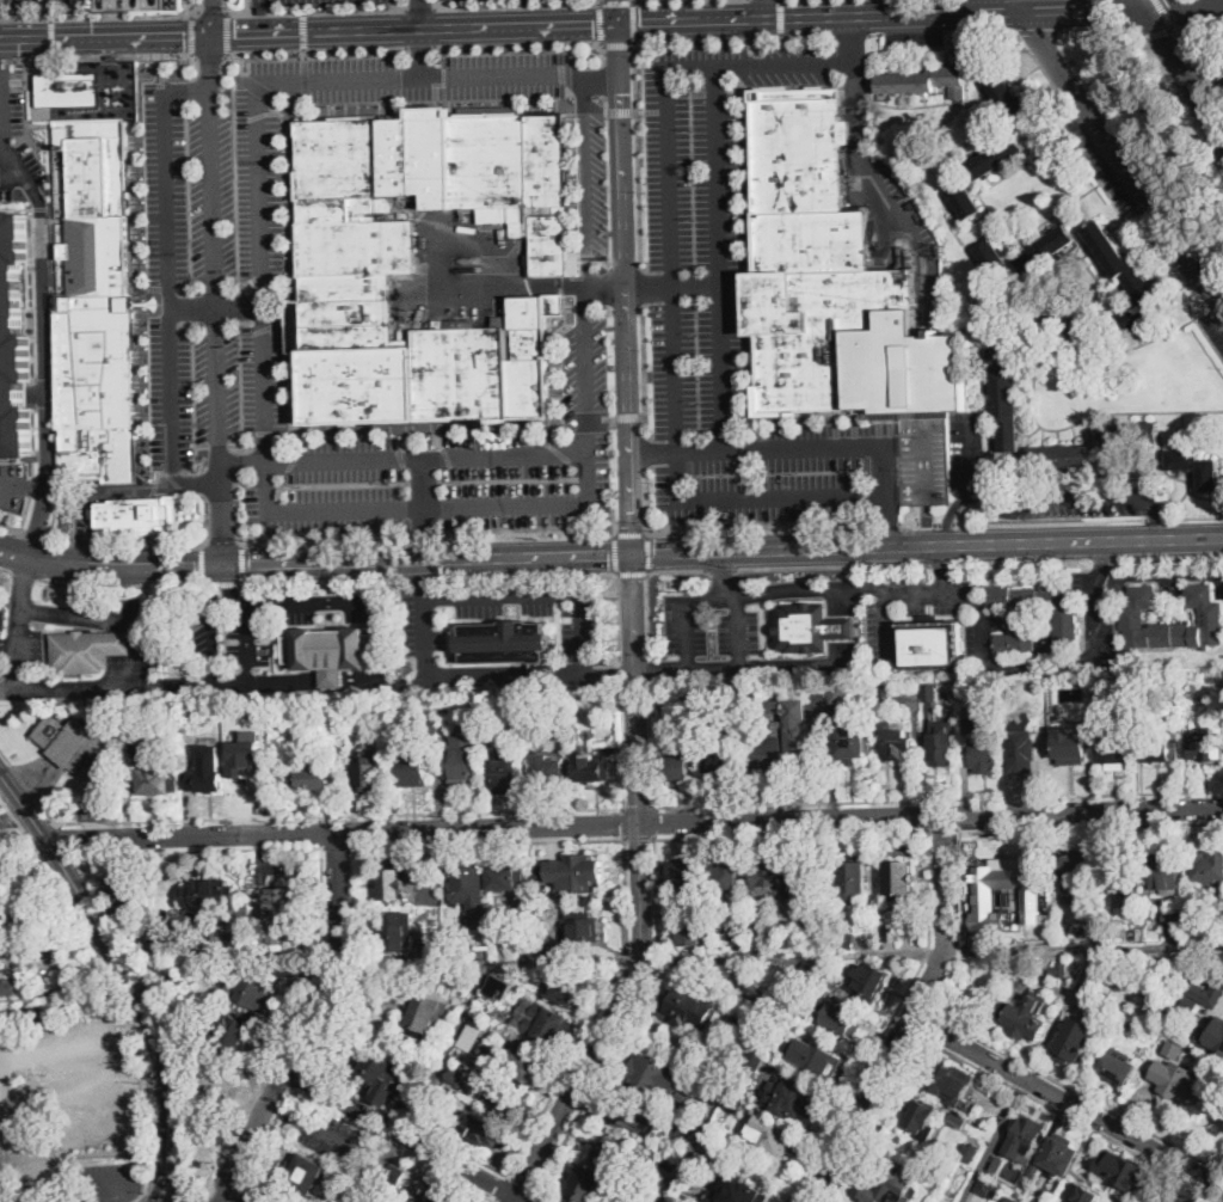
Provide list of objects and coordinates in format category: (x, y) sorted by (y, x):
parking lot: (281, 0)
road: (600, 0)
road: (632, 0)
road: (652, 0)
road: (616, 1)
road: (1137, 2)
parking lot: (75, 4)
building: (141, 4)
road: (516, 4)
road: (1181, 5)
road: (960, 6)
road: (419, 7)
road: (1082, 7)
road: (0, 8)
building: (263, 8)
road: (766, 8)
road: (316, 10)
road: (620, 10)
road: (214, 12)
road: (419, 13)
road: (895, 13)
road: (1164, 13)
road: (100, 14)
road: (781, 17)
road: (692, 18)
road: (633, 19)
traffic signals: (640, 19)
traffic signals: (592, 20)
road: (602, 20)
road: (1104, 26)
road: (1198, 26)
road: (982, 27)
road: (302, 29)
road: (309, 29)
road: (1040, 29)
road: (1159, 30)
road: (227, 31)
road: (916, 31)
road: (192, 32)
traffic signals: (213, 32)
road: (877, 32)
road: (850, 33)
road: (50, 35)
road: (731, 36)
road: (853, 36)
parking lot: (915, 37)
building: (760, 38)
road: (516, 42)
road: (617, 43)
road: (419, 45)
road: (314, 47)
road: (422, 51)
road: (604, 51)
road: (105, 54)
road: (210, 56)
road: (7, 57)
road: (1198, 66)
road: (1181, 68)
parking lot: (416, 76)
road: (499, 76)
road: (603, 78)
road: (606, 79)
building: (926, 81)
building: (69, 90)
traffic signals: (622, 91)
building: (1012, 102)
road: (606, 103)
road: (633, 110)
road: (619, 111)
park: (1156, 129)
parking lot: (10, 133)
road: (858, 142)
road: (638, 155)
building: (995, 158)
road: (1123, 158)
road: (17, 168)
parking lot: (592, 178)
parking lot: (211, 197)
building: (966, 202)
road: (1113, 202)
parking lot: (904, 206)
building: (1045, 249)
road: (438, 250)
building: (357, 254)
building: (992, 258)
parking lot: (466, 262)
road: (623, 268)
road: (608, 276)
building: (830, 280)
road: (214, 282)
road: (167, 284)
building: (1138, 284)
road: (549, 286)
road: (608, 286)
road: (641, 286)
road: (675, 286)
building: (93, 305)
road: (191, 308)
parking lot: (732, 308)
road: (977, 330)
building: (1053, 330)
parking lot: (1211, 330)
building: (16, 339)
road: (263, 361)
road: (644, 361)
road: (43, 374)
building: (1006, 393)
road: (1034, 403)
road: (627, 416)
road: (583, 417)
road: (645, 425)
building: (1127, 435)
parking lot: (374, 446)
road: (701, 448)
road: (653, 449)
road: (646, 452)
parking lot: (957, 452)
road: (970, 454)
building: (1059, 456)
building: (926, 462)
parking garage: (926, 462)
building: (1194, 466)
road: (590, 482)
road: (423, 483)
parking lot: (12, 485)
road: (23, 486)
road: (97, 492)
road: (768, 496)
road: (1061, 496)
road: (647, 499)
road: (236, 511)
road: (948, 514)
building: (136, 515)
road: (1153, 516)
road: (1192, 516)
road: (1154, 519)
road: (889, 520)
road: (908, 520)
road: (926, 520)
road: (884, 521)
road: (938, 522)
road: (947, 522)
road: (1050, 522)
road: (758, 523)
road: (927, 523)
road: (208, 525)
road: (12, 528)
road: (527, 528)
road: (424, 531)
road: (326, 532)
road: (424, 532)
road: (629, 532)
road: (36, 535)
road: (225, 538)
road: (123, 548)
road: (723, 550)
traffic signals: (633, 552)
road: (649, 552)
road: (614, 553)
road: (1168, 556)
road: (1101, 557)
road: (1101, 558)
road: (1020, 560)
road: (940, 563)
road: (244, 564)
road: (202, 565)
traffic signals: (225, 565)
road: (831, 565)
road: (111, 566)
road: (941, 566)
road: (721, 569)
road: (6, 570)
road: (677, 570)
road: (631, 572)
road: (1153, 572)
road: (721, 574)
road: (25, 575)
road: (524, 576)
road: (424, 577)
road: (422, 579)
road: (326, 582)
road: (223, 584)
road: (119, 587)
road: (893, 587)
road: (787, 588)
road: (451, 596)
road: (356, 600)
road: (646, 612)
parking lot: (1, 615)
road: (112, 615)
building: (1211, 615)
building: (1019, 620)
parking lot: (708, 621)
road: (19, 623)
road: (885, 623)
road: (634, 627)
building: (809, 627)
parking lot: (879, 631)
road: (209, 634)
road: (8, 643)
building: (510, 645)
building: (932, 645)
building: (87, 650)
building: (330, 651)
parking lot: (0, 652)
road: (1032, 662)
road: (649, 664)
road: (829, 664)
road: (738, 666)
building: (406, 667)
road: (662, 669)
road: (272, 682)
road: (122, 686)
building: (1129, 688)
building: (885, 691)
building: (1010, 692)
building: (930, 693)
building: (838, 695)
building: (727, 698)
building: (684, 699)
building: (521, 700)
building: (533, 703)
building: (774, 704)
building: (448, 705)
building: (139, 713)
building: (314, 720)
building: (434, 725)
building: (852, 743)
building: (941, 743)
building: (803, 744)
building: (146, 746)
building: (981, 746)
building: (1071, 746)
building: (76, 747)
building: (159, 747)
building: (898, 747)
building: (1160, 747)
building: (1206, 747)
building: (1113, 749)
building: (1021, 752)
building: (247, 758)
building: (721, 758)
building: (767, 758)
building: (462, 760)
building: (676, 762)
building: (210, 766)
building: (591, 767)
building: (412, 769)
building: (552, 771)
building: (368, 772)
building: (508, 774)
building: (319, 777)
building: (155, 780)
road: (26, 785)
road: (854, 801)
road: (24, 807)
road: (623, 808)
road: (652, 808)
road: (637, 809)
road: (1081, 811)
road: (455, 812)
road: (959, 812)
road: (927, 814)
road: (13, 815)
road: (626, 821)
road: (651, 821)
road: (55, 827)
road: (493, 827)
road: (995, 827)
road: (942, 828)
road: (800, 832)
road: (640, 833)
road: (654, 834)
road: (626, 835)
road: (66, 840)
road: (336, 845)
road: (196, 850)
building: (1206, 866)
building: (1166, 869)
building: (580, 870)
building: (1119, 871)
building: (539, 873)
building: (1075, 873)
building: (680, 875)
building: (723, 876)
building: (506, 877)
building: (772, 878)
building: (852, 879)
building: (898, 879)
building: (392, 883)
building: (467, 883)
road: (626, 885)
building: (123, 894)
building: (1004, 900)
building: (211, 901)
building: (690, 906)
building: (282, 915)
building: (1173, 918)
building: (738, 921)
building: (5, 926)
building: (757, 926)
building: (527, 927)
building: (582, 927)
building: (1045, 927)
building: (1081, 930)
building: (399, 931)
building: (695, 933)
building: (891, 933)
building: (736, 940)
building: (846, 940)
building: (542, 942)
building: (146, 943)
building: (26, 949)
building: (443, 950)
road: (779, 958)
road: (354, 961)
building: (1190, 963)
building: (1059, 970)
building: (815, 973)
building: (527, 979)
building: (176, 981)
road: (134, 982)
building: (871, 983)
building: (499, 986)
building: (8, 987)
road: (121, 988)
building: (758, 989)
building: (1194, 989)
building: (252, 991)
building: (569, 992)
building: (782, 1001)
building: (1188, 1004)
building: (686, 1008)
building: (32, 1014)
building: (178, 1014)
road: (1062, 1014)
building: (424, 1016)
building: (1025, 1016)
building: (773, 1017)
road: (910, 1017)
building: (483, 1020)
building: (843, 1020)
road: (922, 1022)
road: (308, 1024)
building: (547, 1024)
road: (288, 1029)
building: (1130, 1029)
building: (229, 1032)
building: (471, 1035)
building: (1077, 1038)
building: (1218, 1040)
road: (75, 1045)
building: (1174, 1049)
road: (290, 1059)
building: (819, 1061)
building: (752, 1062)
building: (523, 1067)
building: (1116, 1068)
building: (382, 1075)
building: (662, 1077)
building: (455, 1078)
road: (299, 1079)
building: (948, 1080)
building: (1176, 1080)
road: (276, 1083)
road: (102, 1087)
road: (1069, 1087)
building: (761, 1090)
building: (506, 1096)
building: (793, 1098)
building: (735, 1100)
road: (1061, 1100)
road: (1052, 1106)
road: (20, 1108)
building: (402, 1108)
building: (424, 1115)
building: (639, 1115)
road: (871, 1116)
building: (957, 1118)
building: (922, 1120)
building: (682, 1127)
building: (486, 1129)
building: (1025, 1137)
road: (405, 1139)
building: (773, 1139)
road: (338, 1140)
road: (992, 1141)
road: (264, 1145)
road: (689, 1151)
building: (969, 1152)
building: (1058, 1153)
building: (616, 1154)
road: (1216, 1154)
building: (995, 1163)
building: (1124, 1170)
road: (161, 1172)
road: (176, 1172)
road: (1199, 1173)
building: (306, 1175)
building: (394, 1175)
building: (1031, 1176)
road: (168, 1177)
road: (521, 1183)
road: (105, 1185)
building: (588, 1185)
building: (891, 1185)
road: (1209, 1185)
road: (500, 1186)
building: (989, 1189)
building: (742, 1191)
road: (1166, 1191)
road: (190, 1194)
building: (1083, 1194)
building: (451, 1196)
road: (530, 1196)
park: (1218, 1196)
building: (638, 1198)
road: (208, 1200)
road: (232, 1200)
road: (262, 1200)
building: (379, 1200)
road: (494, 1200)
road: (499, 1200)
building: (1009, 1200)
road: (164, 1201)
road: (221, 1201)
building: (1019, 1201)
building: (1037, 1201)

